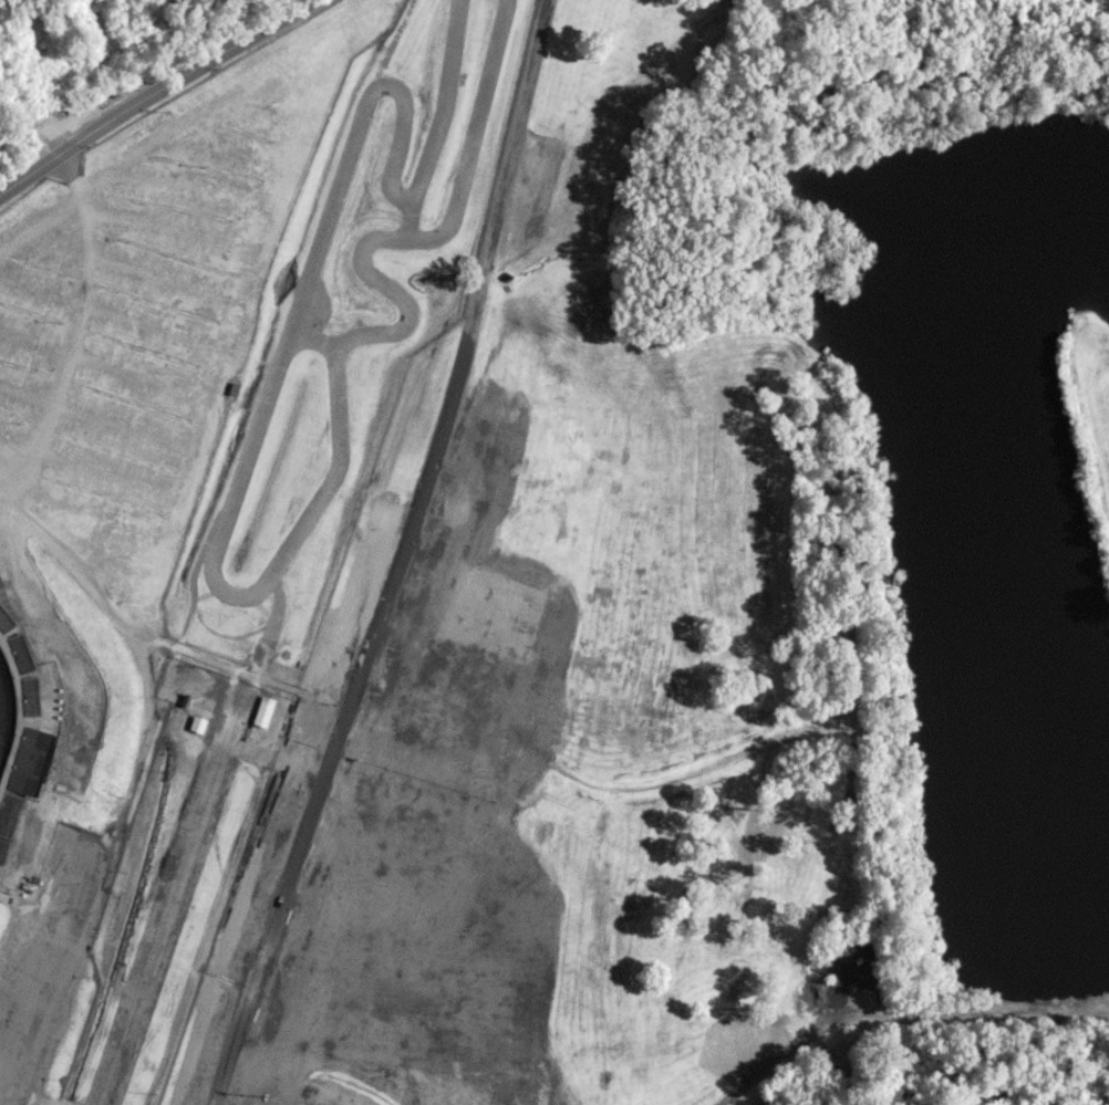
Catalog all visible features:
road: (153, 93)
road: (398, 556)

